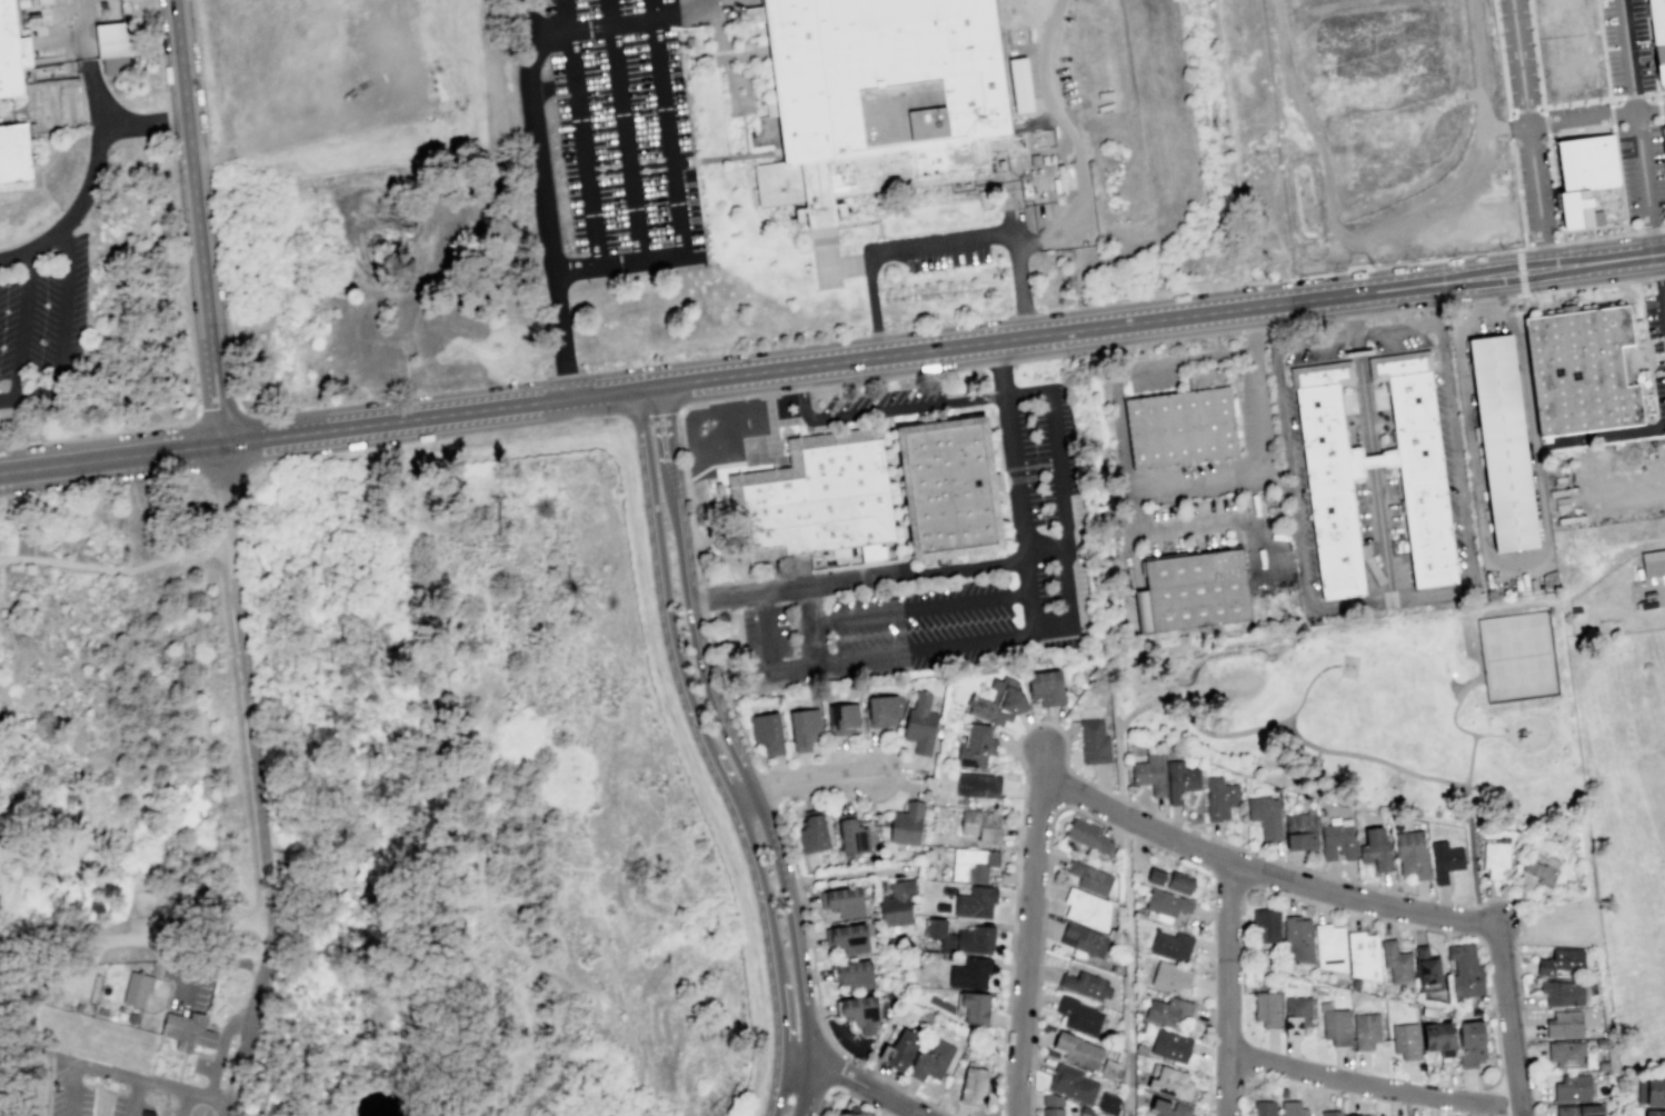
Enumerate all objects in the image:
road: (709, 4)
road: (652, 9)
road: (607, 12)
road: (620, 23)
road: (84, 32)
building: (1657, 37)
building: (109, 40)
parking lot: (1624, 46)
road: (1651, 46)
building: (9, 51)
parking lot: (1525, 51)
parking lot: (1505, 52)
building: (113, 64)
building: (1019, 84)
road: (1631, 94)
building: (877, 97)
road: (1574, 102)
road: (1524, 109)
road: (1657, 109)
road: (1609, 116)
road: (1579, 118)
road: (1307, 119)
road: (1543, 120)
road: (148, 123)
road: (1507, 123)
road: (1636, 127)
road: (1526, 130)
road: (581, 131)
road: (667, 136)
parking lot: (622, 138)
road: (624, 141)
road: (1076, 142)
building: (1663, 145)
building: (14, 155)
road: (724, 157)
railway: (1455, 161)
road: (1477, 161)
parking lot: (1656, 172)
parking lot: (1521, 177)
building: (1582, 178)
parking lot: (1544, 179)
road: (91, 185)
parking lot: (1627, 188)
road: (547, 199)
road: (215, 201)
road: (866, 222)
road: (200, 225)
road: (943, 249)
parking lot: (946, 249)
road: (1353, 250)
road: (1466, 253)
road: (1639, 256)
road: (641, 257)
road: (1527, 262)
road: (826, 265)
road: (577, 267)
road: (1521, 271)
road: (1661, 272)
road: (1529, 278)
road: (1023, 288)
road: (1581, 288)
road: (1484, 296)
road: (1664, 296)
road: (1483, 301)
road: (873, 307)
road: (189, 309)
road: (66, 310)
road: (1353, 313)
parking lot: (42, 316)
road: (1359, 317)
road: (23, 326)
road: (1440, 327)
road: (1398, 328)
road: (1050, 333)
road: (1315, 339)
road: (1357, 341)
road: (1074, 342)
parking lot: (1656, 343)
road: (1275, 345)
road: (1358, 352)
road: (1183, 359)
road: (1001, 368)
building: (1581, 370)
road: (650, 388)
road: (1026, 395)
road: (27, 396)
road: (1365, 402)
road: (217, 405)
road: (681, 411)
road: (880, 411)
road: (652, 416)
road: (431, 418)
road: (619, 425)
building: (1182, 427)
road: (1609, 431)
road: (776, 434)
building: (1502, 442)
road: (417, 446)
road: (667, 452)
road: (1373, 459)
road: (111, 462)
road: (225, 471)
building: (1334, 472)
road: (1195, 476)
parking lot: (1045, 491)
road: (1606, 492)
building: (956, 495)
building: (821, 501)
road: (1020, 514)
road: (1172, 520)
road: (1064, 530)
road: (1382, 535)
building: (1653, 565)
road: (117, 570)
road: (1517, 570)
road: (876, 575)
building: (1194, 591)
road: (1545, 599)
road: (1387, 601)
road: (920, 609)
road: (810, 624)
road: (926, 648)
road: (769, 652)
park: (1521, 655)
park: (1218, 657)
park: (1239, 684)
building: (1046, 686)
road: (1157, 687)
road: (1168, 689)
building: (1000, 701)
road: (438, 709)
building: (888, 711)
park: (1379, 717)
building: (849, 720)
road: (1274, 724)
building: (926, 725)
road: (1119, 727)
building: (811, 729)
building: (774, 733)
road: (1495, 734)
road: (747, 740)
building: (1093, 740)
building: (981, 747)
road: (714, 754)
road: (702, 767)
road: (1400, 770)
building: (1156, 775)
road: (1439, 779)
building: (1186, 780)
road: (801, 783)
building: (983, 785)
road: (768, 786)
park: (372, 796)
building: (1225, 799)
road: (256, 800)
road: (759, 814)
building: (1272, 816)
road: (1165, 817)
building: (913, 825)
building: (988, 827)
building: (1306, 833)
building: (820, 834)
building: (859, 835)
road: (1048, 836)
building: (1094, 837)
building: (1344, 839)
building: (1382, 850)
road: (396, 854)
building: (1417, 855)
road: (1475, 855)
building: (1449, 861)
building: (1503, 861)
building: (978, 865)
building: (1547, 869)
road: (1262, 873)
building: (1155, 876)
building: (1091, 877)
road: (1232, 879)
building: (1186, 883)
building: (854, 901)
building: (980, 903)
building: (903, 904)
building: (1172, 904)
road: (1328, 906)
building: (1088, 907)
building: (160, 923)
building: (1272, 926)
road: (1479, 929)
road: (1030, 931)
road: (7, 937)
building: (968, 937)
building: (1083, 939)
building: (857, 940)
building: (1303, 940)
building: (1176, 947)
road: (89, 948)
building: (1336, 948)
road: (1220, 954)
road: (1235, 954)
building: (1369, 956)
road: (210, 957)
building: (1403, 963)
building: (1568, 965)
road: (1129, 967)
building: (1434, 969)
building: (969, 971)
building: (1472, 971)
building: (863, 976)
building: (1176, 977)
building: (1086, 984)
parking lot: (191, 986)
road: (1228, 988)
building: (138, 992)
building: (1567, 994)
road: (360, 1003)
building: (975, 1007)
building: (1273, 1009)
road: (267, 1010)
road: (630, 1012)
building: (868, 1013)
building: (1176, 1014)
building: (1078, 1015)
building: (1304, 1016)
road: (1507, 1019)
building: (1569, 1025)
building: (1343, 1027)
building: (1373, 1032)
building: (190, 1033)
road: (418, 1034)
building: (1447, 1036)
building: (1412, 1042)
building: (1478, 1044)
building: (1176, 1046)
building: (1078, 1049)
road: (222, 1050)
building: (909, 1050)
building: (885, 1053)
building: (1572, 1055)
road: (61, 1060)
building: (937, 1060)
road: (273, 1062)
parking lot: (207, 1068)
building: (1108, 1068)
road: (836, 1072)
road: (178, 1073)
road: (27, 1074)
road: (116, 1077)
building: (1175, 1082)
road: (855, 1083)
building: (1073, 1083)
building: (973, 1085)
road: (1374, 1087)
building: (1577, 1088)
road: (850, 1090)
parking lot: (113, 1092)
building: (1661, 1093)
road: (205, 1098)
road: (131, 1099)
building: (1107, 1104)
building: (1051, 1105)
building: (1173, 1108)
building: (1270, 1108)
road: (226, 1109)
building: (1297, 1109)
building: (1586, 1110)
building: (1658, 1113)
building: (856, 1114)
road: (911, 1114)
building: (1337, 1114)
building: (1363, 1115)

